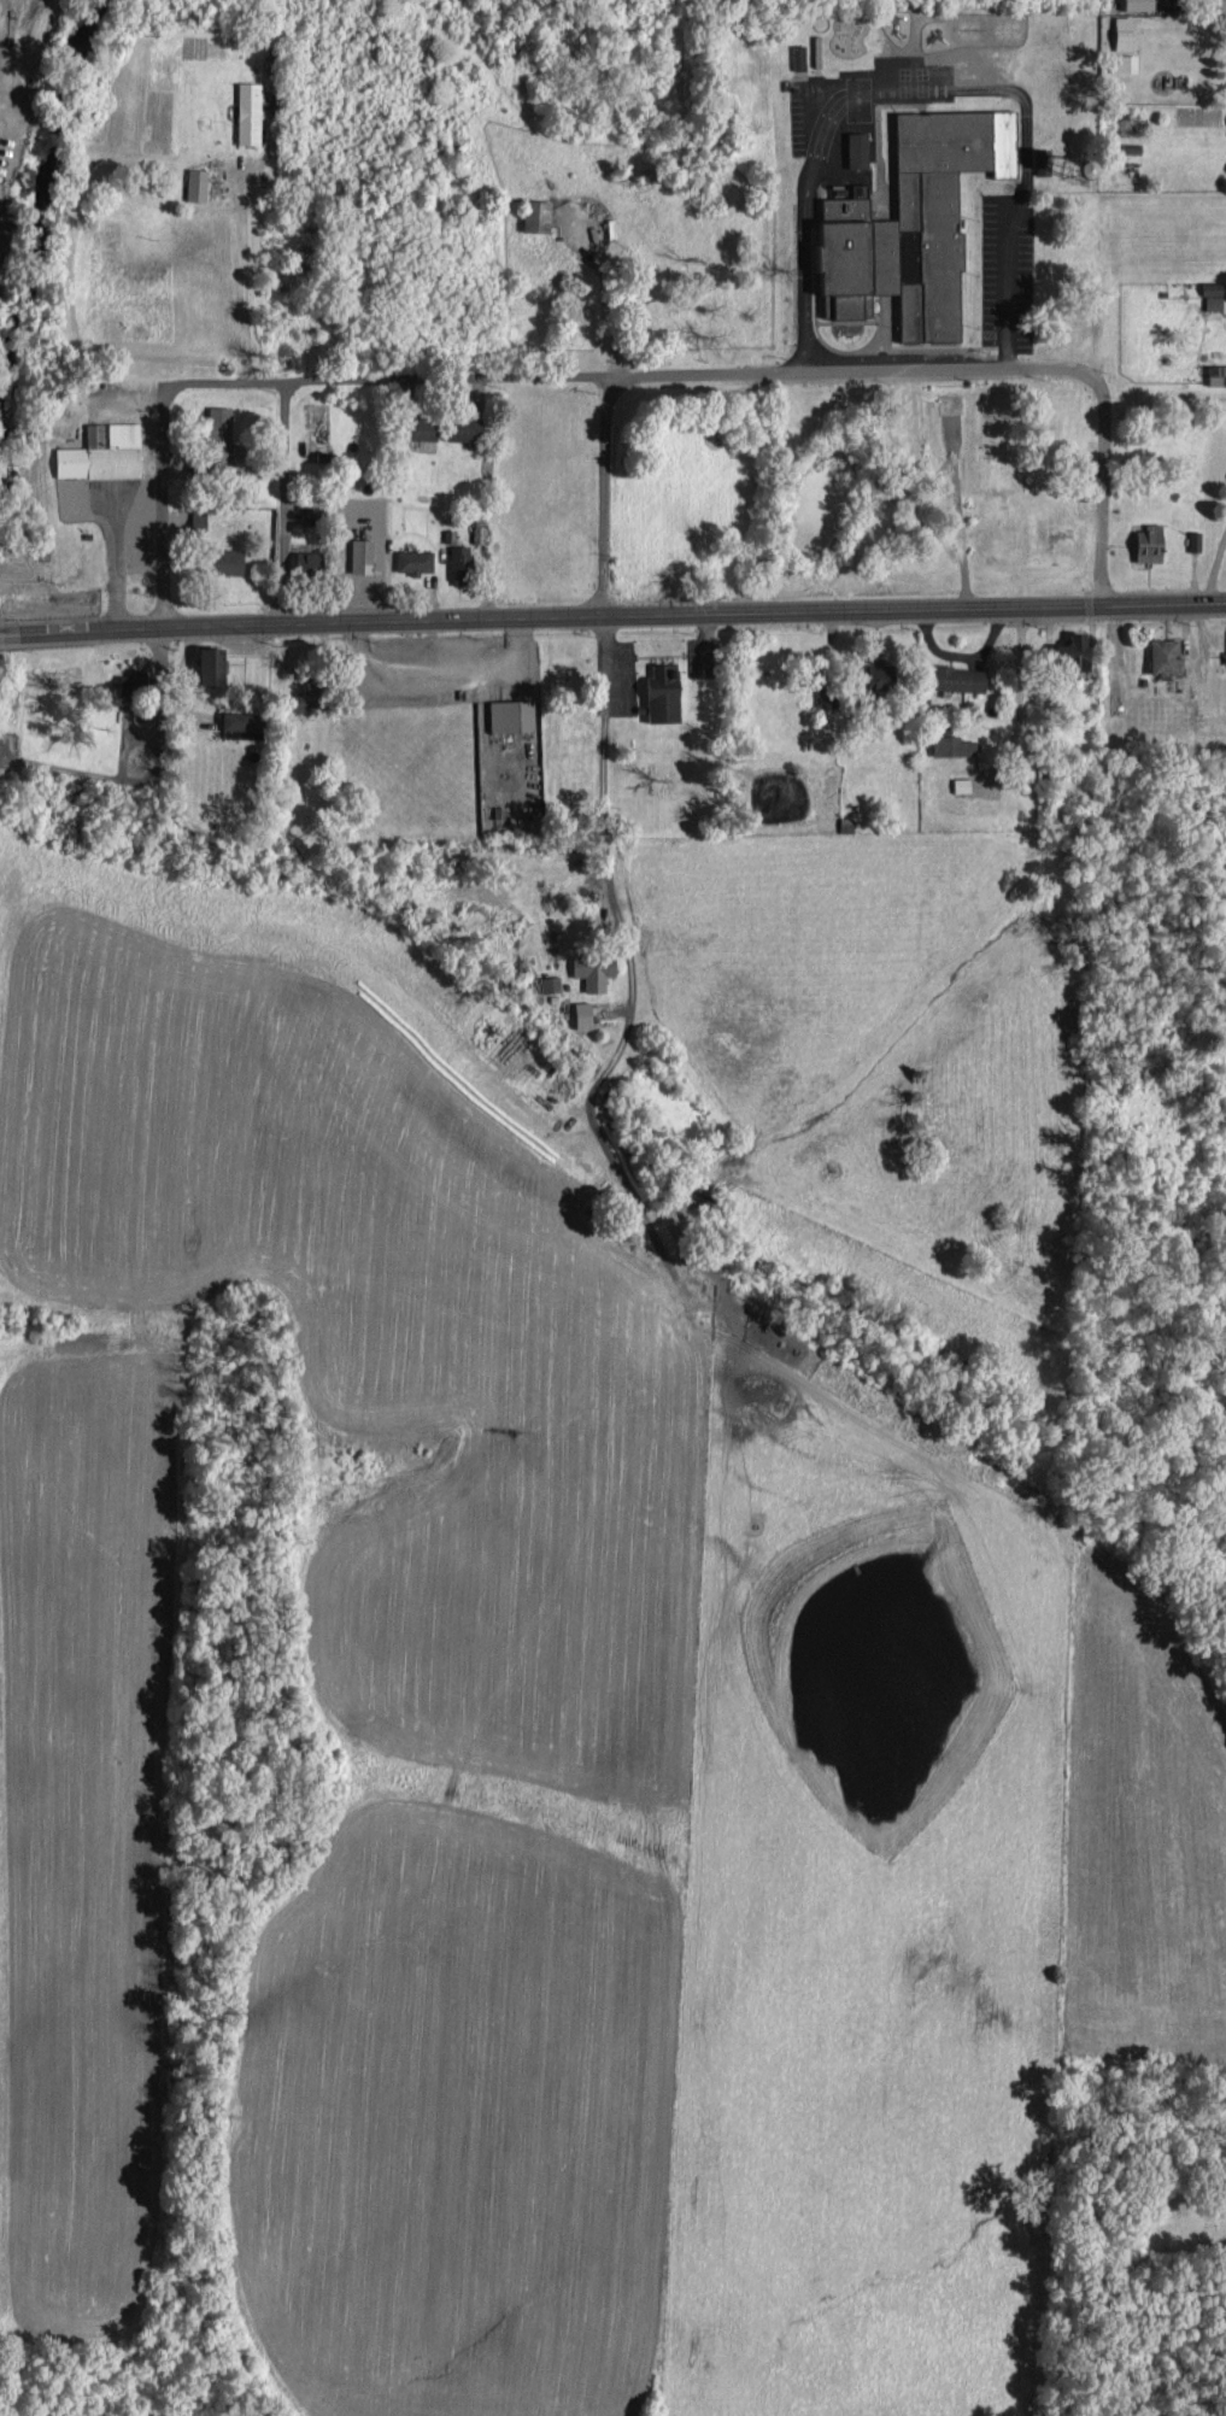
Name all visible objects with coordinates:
building: (1131, 2)
building: (1118, 30)
building: (1119, 60)
building: (250, 111)
building: (852, 147)
building: (198, 182)
building: (530, 212)
building: (904, 221)
building: (1204, 285)
building: (1208, 299)
building: (1069, 323)
road: (969, 365)
building: (1214, 371)
road: (423, 375)
building: (945, 400)
building: (412, 426)
building: (457, 427)
building: (105, 451)
road: (163, 476)
road: (603, 493)
road: (281, 502)
building: (1055, 529)
building: (1002, 539)
building: (1142, 541)
building: (358, 555)
building: (456, 555)
building: (410, 559)
building: (310, 561)
road: (615, 614)
road: (2, 634)
building: (1062, 650)
building: (1222, 651)
building: (1158, 653)
building: (863, 673)
building: (956, 676)
building: (140, 681)
building: (657, 690)
building: (506, 713)
building: (242, 722)
building: (949, 743)
building: (588, 967)
building: (549, 981)
building: (576, 1011)

